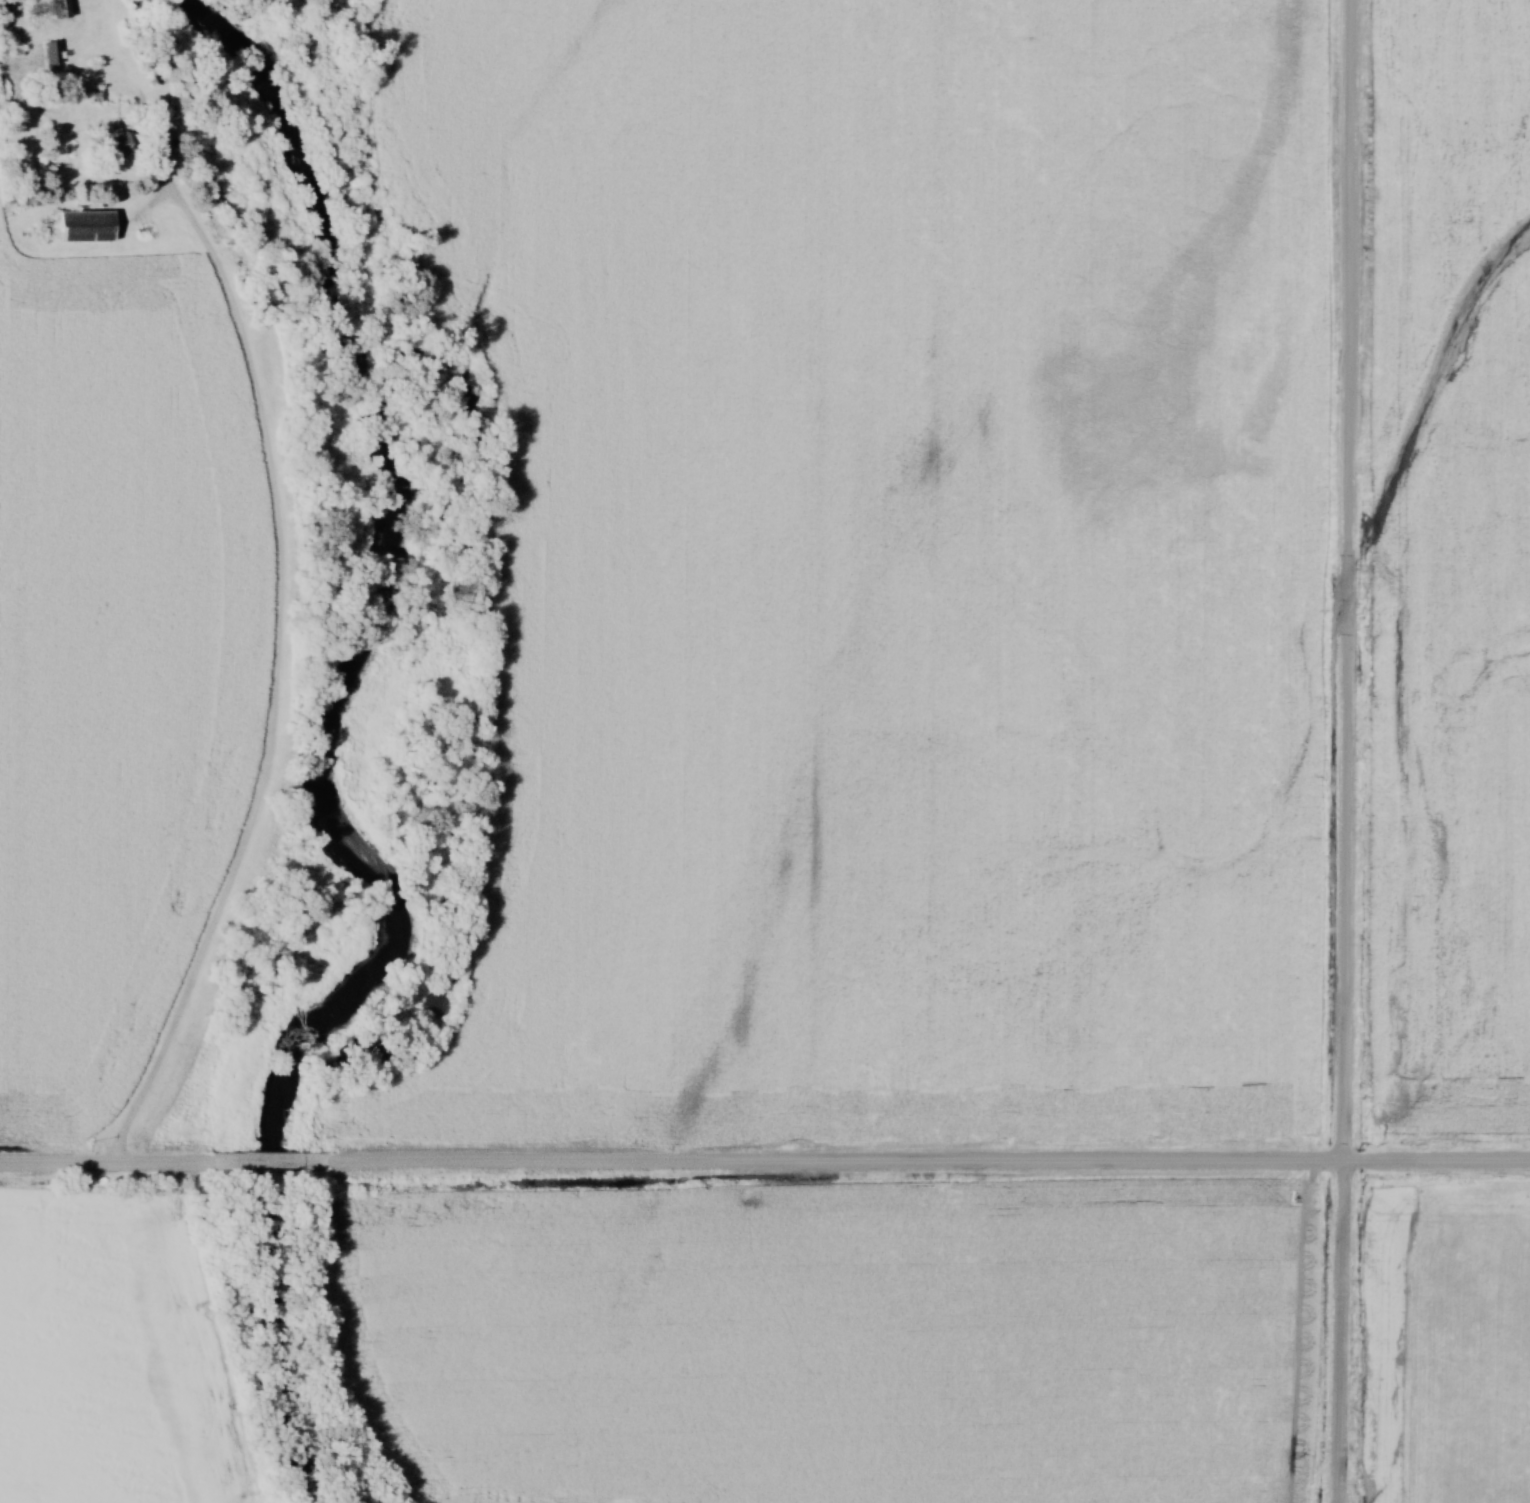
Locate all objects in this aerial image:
building: (56, 9)
building: (49, 53)
building: (110, 146)
building: (83, 226)
road: (281, 621)
road: (1348, 751)
road: (105, 1160)
road: (268, 1160)
road: (927, 1162)

